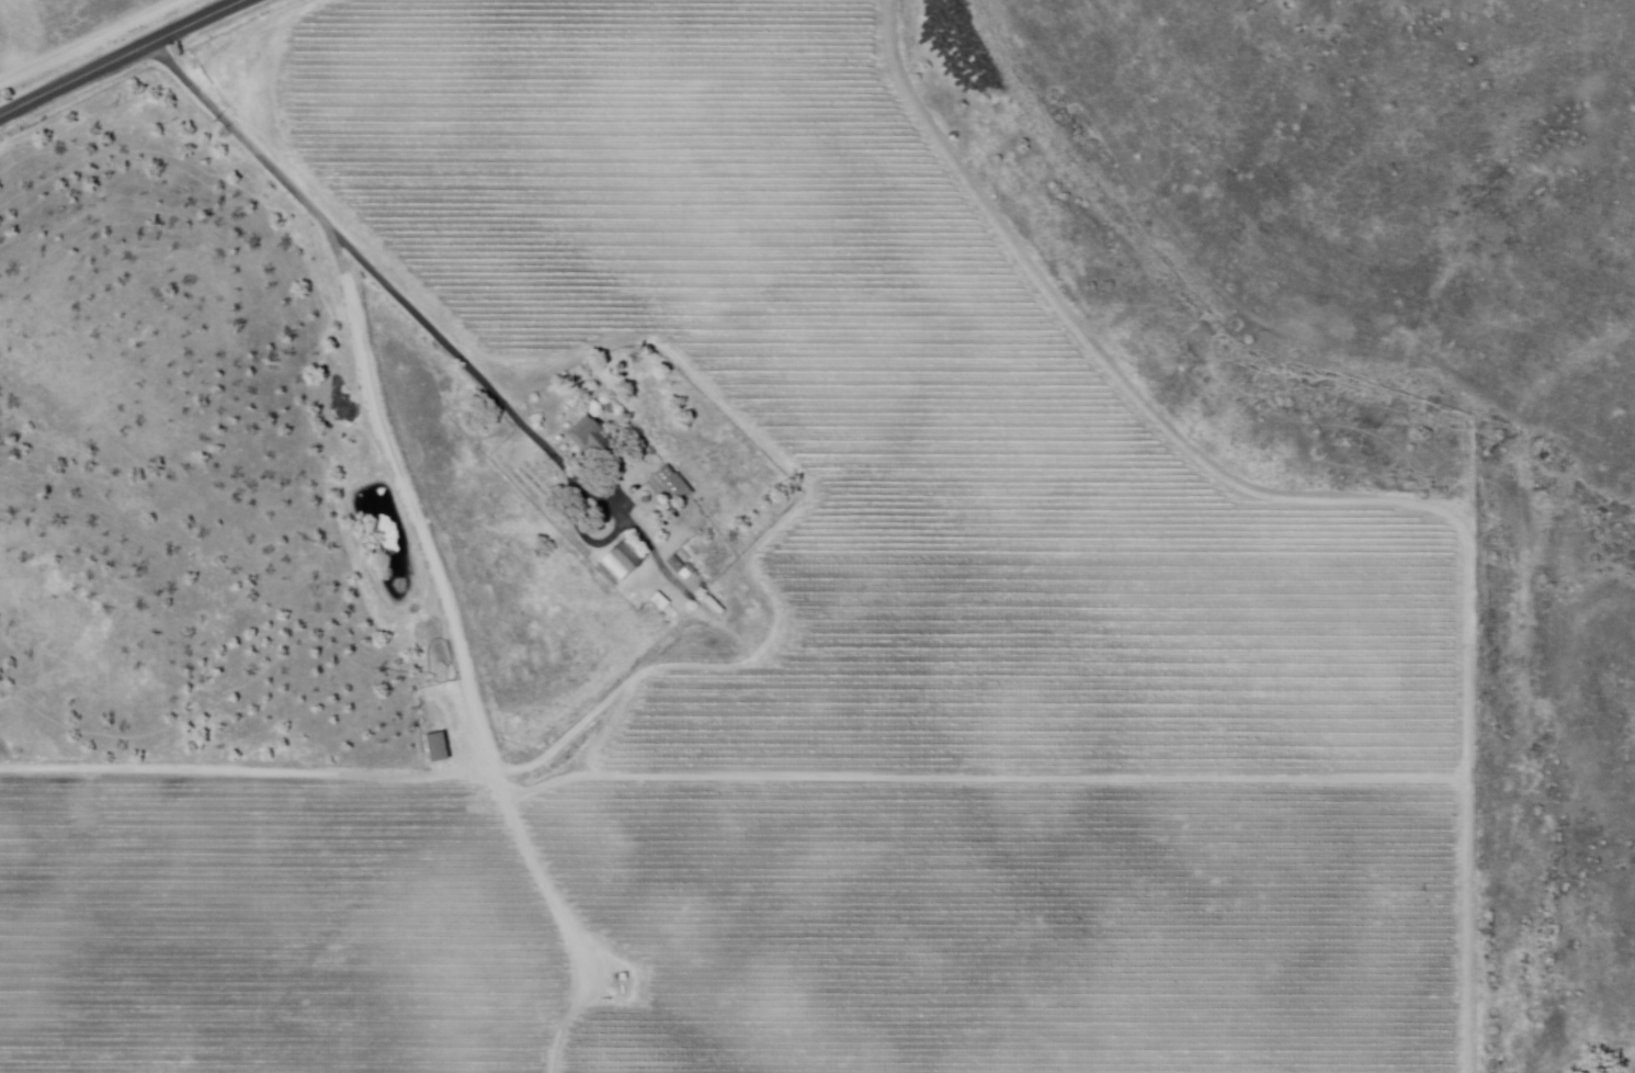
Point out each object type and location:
road: (118, 56)
road: (353, 251)
building: (599, 451)
building: (670, 484)
storage tank: (634, 490)
building: (643, 524)
building: (623, 561)
building: (439, 747)

